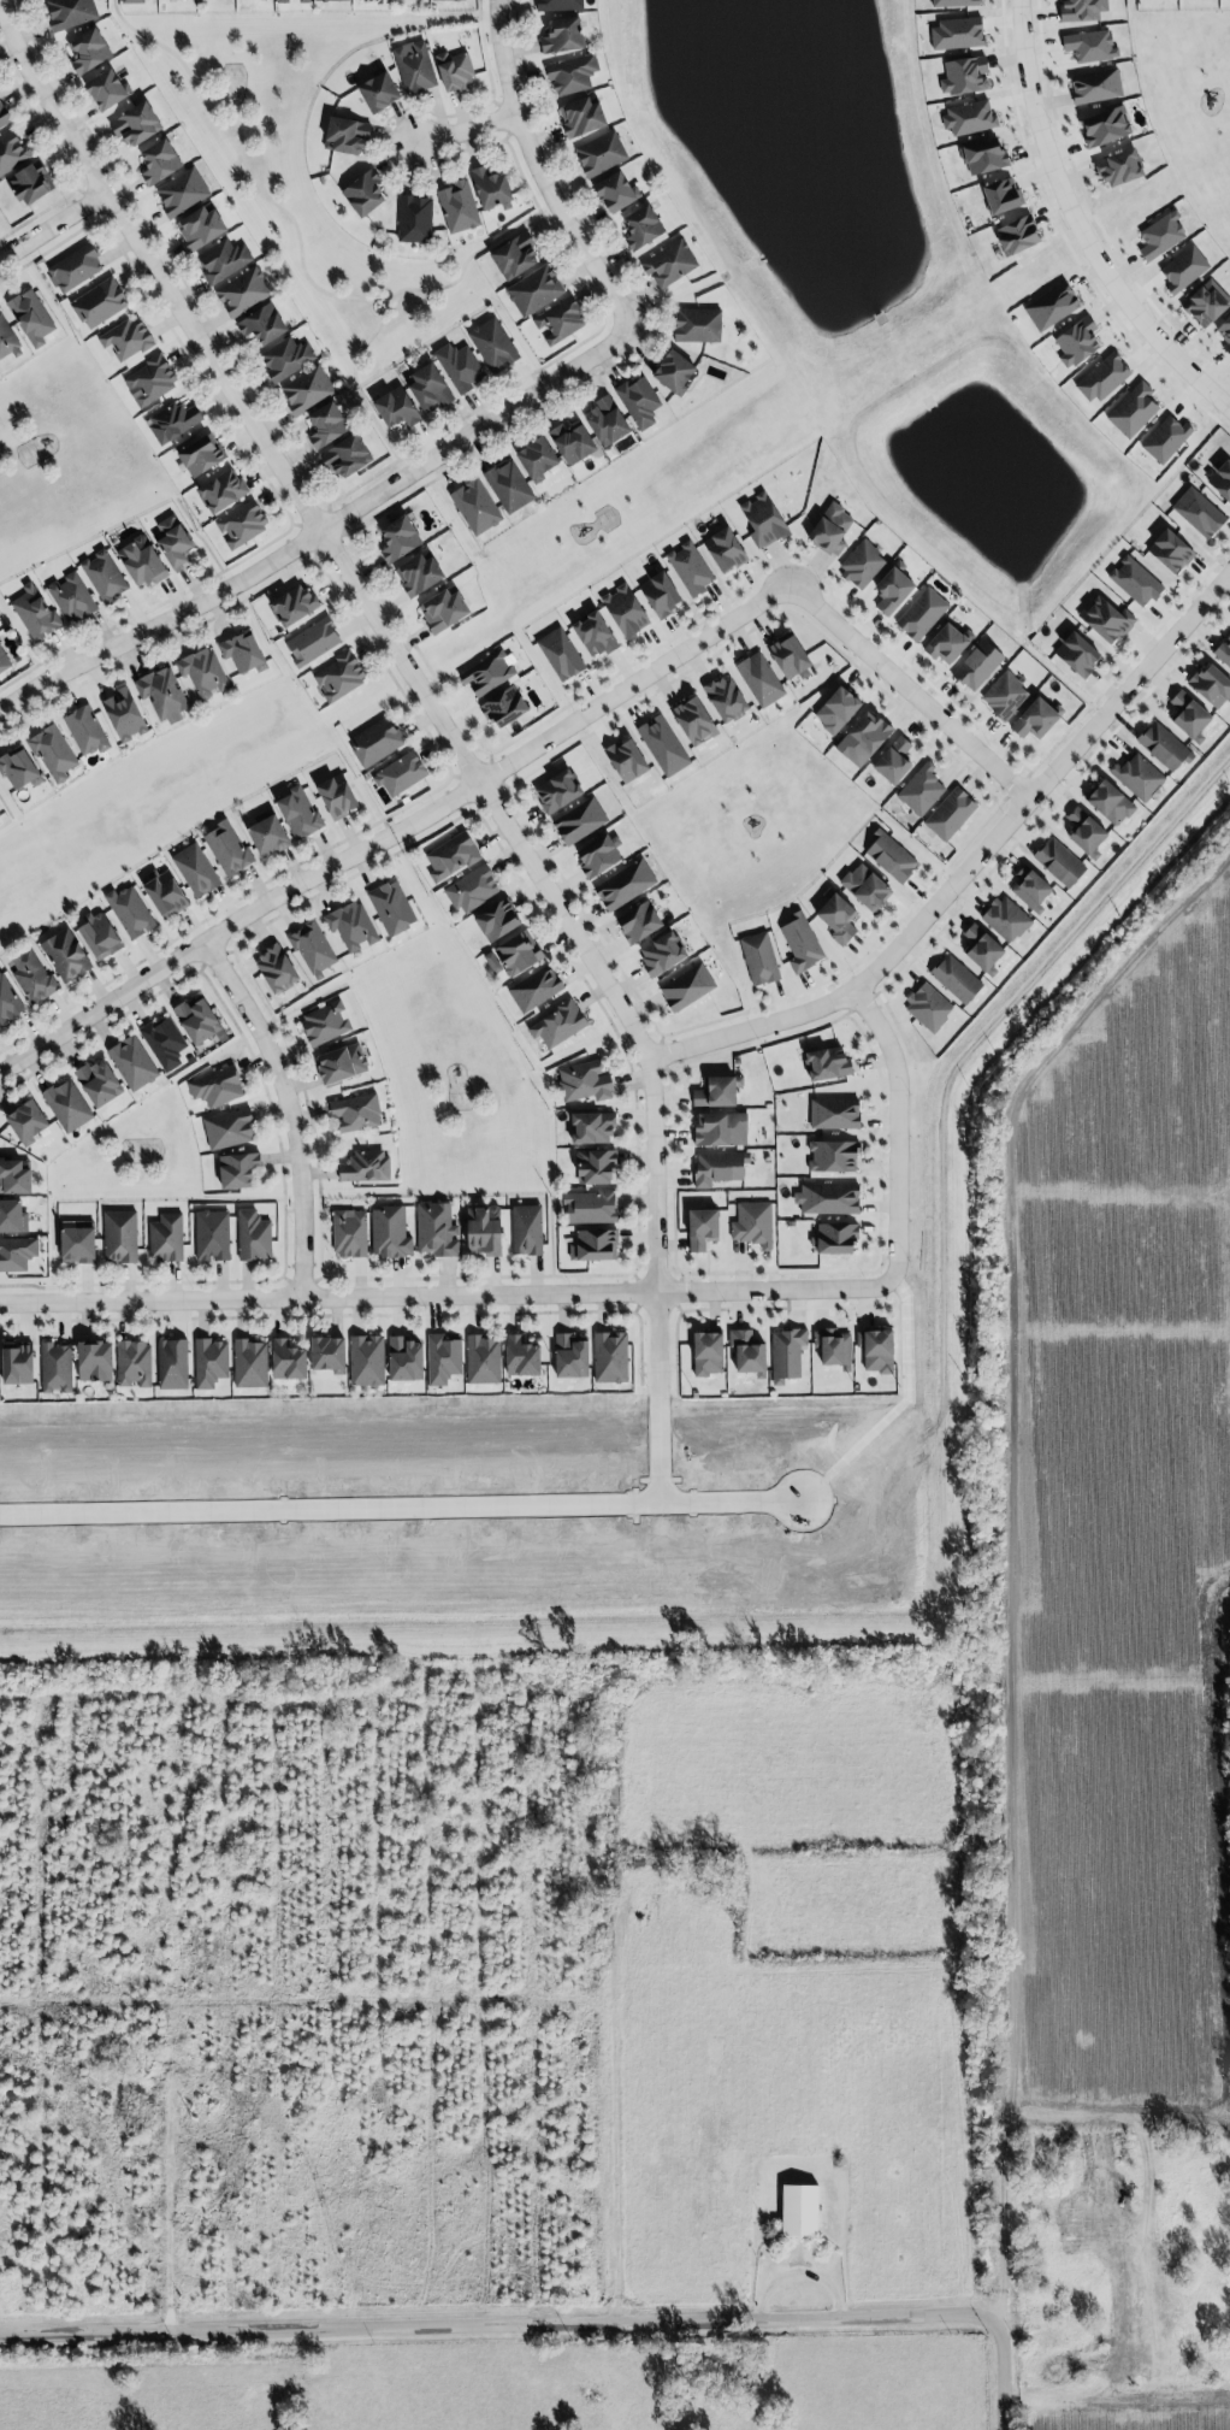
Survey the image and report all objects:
building: (131, 1)
building: (283, 1)
building: (331, 1)
building: (448, 1)
building: (304, 2)
building: (952, 4)
building: (558, 6)
building: (1081, 10)
building: (70, 14)
building: (956, 34)
building: (563, 40)
building: (1089, 47)
building: (90, 53)
building: (415, 71)
building: (455, 72)
building: (570, 75)
building: (963, 75)
building: (1094, 85)
building: (108, 94)
building: (379, 95)
building: (580, 116)
building: (5, 118)
building: (970, 118)
building: (134, 124)
building: (1104, 125)
road: (467, 131)
building: (343, 135)
building: (13, 153)
building: (601, 155)
building: (982, 157)
building: (160, 163)
building: (1117, 167)
road: (542, 171)
building: (26, 182)
building: (492, 188)
building: (611, 191)
building: (361, 193)
building: (183, 195)
building: (1000, 195)
building: (460, 210)
building: (415, 220)
road: (49, 226)
road: (1077, 226)
building: (643, 229)
building: (201, 230)
building: (1016, 235)
building: (1161, 235)
building: (511, 255)
building: (224, 263)
building: (670, 263)
building: (75, 266)
building: (1182, 269)
building: (533, 290)
building: (244, 291)
building: (100, 301)
building: (1204, 303)
building: (1049, 307)
building: (29, 317)
building: (558, 320)
building: (261, 325)
building: (696, 325)
building: (1225, 334)
building: (126, 337)
building: (6, 341)
building: (1075, 342)
building: (493, 346)
building: (284, 359)
building: (457, 367)
building: (675, 368)
building: (1102, 377)
building: (152, 379)
building: (426, 388)
building: (307, 391)
building: (638, 402)
building: (1131, 411)
building: (397, 412)
building: (171, 421)
building: (603, 421)
building: (324, 424)
building: (1165, 438)
building: (569, 442)
building: (199, 454)
building: (537, 455)
building: (347, 462)
building: (1222, 476)
building: (509, 484)
building: (219, 490)
building: (474, 506)
building: (1199, 511)
building: (763, 520)
building: (242, 521)
building: (830, 527)
road: (324, 532)
building: (400, 533)
building: (173, 539)
building: (726, 548)
building: (1171, 548)
building: (143, 559)
building: (688, 564)
building: (862, 564)
building: (420, 571)
building: (106, 573)
building: (1136, 579)
building: (891, 588)
building: (660, 590)
building: (72, 596)
building: (295, 603)
building: (444, 607)
building: (626, 608)
building: (34, 613)
building: (922, 613)
building: (1107, 618)
building: (596, 629)
building: (314, 639)
building: (946, 642)
building: (244, 650)
building: (560, 650)
building: (1224, 650)
building: (791, 653)
building: (1074, 654)
building: (4, 661)
building: (977, 666)
building: (203, 671)
building: (489, 672)
building: (341, 676)
building: (761, 678)
building: (1212, 683)
building: (160, 694)
building: (1005, 695)
building: (726, 696)
building: (504, 703)
building: (836, 707)
building: (125, 713)
building: (1189, 714)
building: (1036, 716)
building: (691, 720)
road: (433, 721)
building: (87, 729)
building: (861, 738)
building: (377, 741)
building: (664, 744)
building: (1165, 745)
road: (536, 747)
building: (53, 750)
building: (894, 759)
building: (623, 760)
building: (20, 768)
building: (401, 773)
building: (1140, 777)
building: (558, 789)
building: (919, 790)
building: (337, 794)
building: (1111, 801)
building: (301, 810)
building: (0, 813)
building: (948, 814)
building: (580, 819)
building: (270, 833)
building: (1087, 834)
building: (226, 849)
building: (599, 853)
building: (451, 854)
building: (888, 859)
building: (1059, 862)
road: (969, 867)
building: (196, 868)
building: (623, 885)
building: (865, 885)
building: (472, 887)
building: (1030, 887)
building: (165, 892)
building: (392, 907)
building: (129, 912)
building: (838, 914)
building: (497, 918)
building: (1006, 919)
building: (635, 922)
building: (351, 926)
building: (101, 934)
building: (800, 943)
building: (982, 945)
building: (314, 949)
building: (663, 951)
building: (65, 952)
building: (511, 955)
building: (761, 957)
building: (278, 967)
building: (30, 975)
building: (957, 978)
building: (687, 986)
building: (536, 989)
building: (7, 999)
building: (929, 1005)
building: (196, 1018)
building: (326, 1022)
building: (560, 1022)
building: (165, 1043)
building: (135, 1063)
building: (826, 1063)
building: (341, 1064)
building: (99, 1080)
building: (584, 1083)
building: (215, 1085)
building: (717, 1090)
building: (69, 1104)
road: (292, 1110)
building: (356, 1111)
building: (835, 1113)
building: (23, 1123)
building: (593, 1125)
building: (227, 1128)
building: (721, 1128)
building: (833, 1156)
building: (597, 1164)
building: (363, 1167)
building: (720, 1167)
building: (233, 1170)
building: (13, 1178)
building: (829, 1199)
building: (591, 1205)
building: (13, 1214)
building: (755, 1223)
building: (703, 1226)
building: (527, 1228)
building: (390, 1229)
building: (485, 1229)
building: (437, 1231)
building: (350, 1233)
building: (122, 1235)
building: (213, 1235)
building: (254, 1235)
building: (167, 1237)
building: (835, 1238)
building: (78, 1243)
building: (593, 1246)
building: (16, 1254)
road: (597, 1291)
building: (835, 1349)
building: (877, 1349)
building: (749, 1351)
building: (329, 1352)
building: (708, 1352)
building: (788, 1352)
building: (522, 1355)
building: (572, 1356)
building: (367, 1357)
building: (406, 1357)
building: (444, 1357)
building: (609, 1357)
building: (289, 1358)
building: (95, 1359)
building: (485, 1359)
building: (211, 1361)
building: (249, 1362)
building: (134, 1363)
building: (173, 1363)
building: (14, 1364)
building: (57, 1367)
road: (400, 1508)
road: (1007, 1591)
road: (1120, 2134)
building: (797, 2211)
road: (503, 2320)

